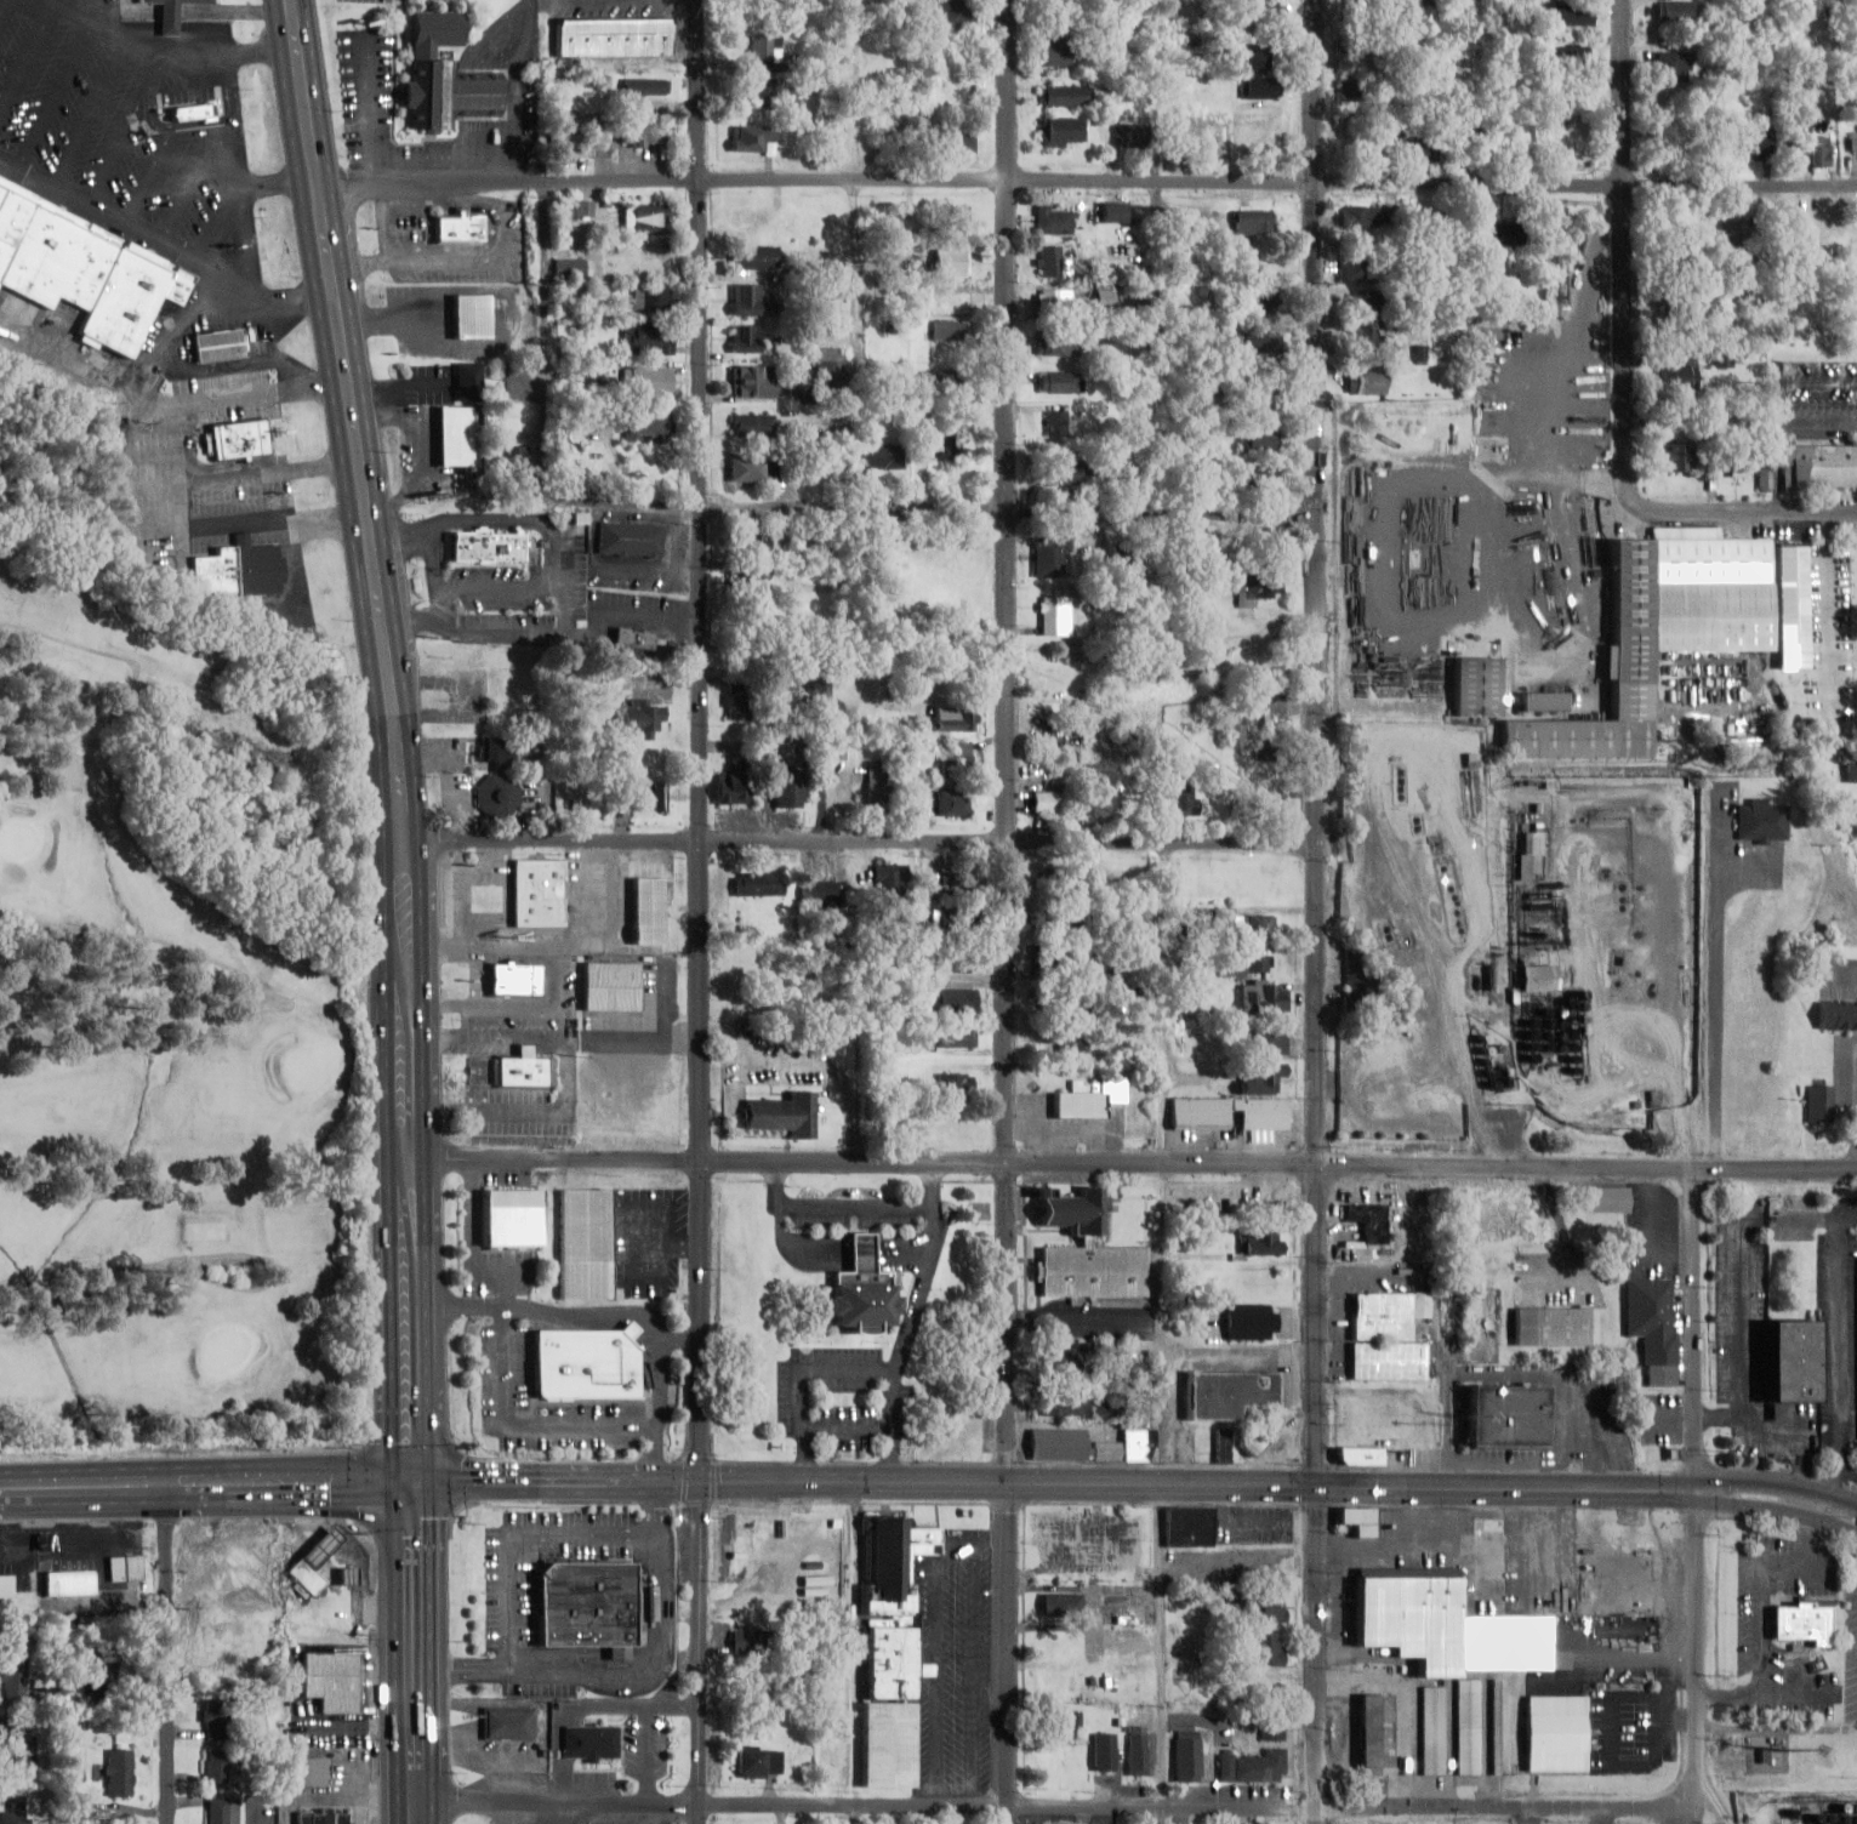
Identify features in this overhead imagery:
road: (6, 0)
building: (1420, 1)
road: (4, 8)
building: (1263, 8)
building: (955, 11)
building: (1677, 11)
building: (1574, 13)
building: (172, 15)
building: (616, 36)
building: (767, 47)
building: (1172, 49)
road: (173, 52)
building: (1060, 53)
building: (1573, 55)
building: (1257, 56)
road: (30, 58)
building: (1671, 65)
building: (448, 73)
building: (1260, 87)
building: (643, 89)
building: (1352, 90)
building: (767, 91)
road: (1466, 91)
road: (304, 93)
building: (1069, 96)
building: (1419, 96)
road: (61, 97)
road: (95, 114)
parking lot: (123, 124)
road: (135, 130)
building: (639, 131)
building: (1063, 131)
building: (1128, 135)
building: (1530, 137)
road: (172, 138)
building: (754, 139)
building: (1853, 139)
building: (958, 142)
building: (1758, 142)
building: (568, 143)
building: (1420, 150)
building: (1798, 154)
building: (1822, 154)
road: (199, 178)
road: (1088, 182)
road: (239, 183)
road: (280, 188)
road: (485, 200)
building: (579, 209)
building: (1115, 212)
building: (1395, 215)
building: (957, 216)
building: (1360, 216)
building: (648, 217)
building: (1055, 220)
road: (125, 221)
road: (388, 221)
building: (1253, 221)
building: (463, 222)
road: (222, 224)
building: (1504, 234)
building: (1800, 236)
building: (1736, 239)
road: (1622, 250)
road: (855, 255)
building: (754, 256)
road: (472, 258)
building: (952, 260)
building: (1052, 261)
building: (84, 264)
road: (363, 266)
building: (1358, 269)
building: (651, 297)
building: (750, 300)
building: (1055, 300)
building: (1106, 300)
building: (1366, 300)
building: (1266, 301)
building: (1687, 306)
building: (479, 313)
road: (262, 324)
building: (951, 330)
building: (1365, 336)
building: (648, 338)
building: (746, 338)
building: (222, 342)
road: (545, 342)
building: (1059, 346)
building: (1266, 346)
building: (1722, 358)
building: (830, 371)
building: (1681, 375)
building: (471, 381)
building: (649, 381)
building: (1060, 381)
building: (751, 382)
building: (941, 382)
building: (1367, 382)
building: (1856, 382)
road: (254, 395)
building: (1260, 395)
building: (1058, 421)
building: (753, 423)
building: (645, 424)
building: (458, 432)
building: (243, 435)
building: (1259, 440)
building: (942, 446)
building: (884, 456)
building: (1676, 456)
building: (1736, 463)
building: (1819, 467)
building: (747, 469)
building: (1064, 474)
building: (1263, 474)
road: (604, 502)
road: (1008, 509)
road: (1742, 515)
building: (633, 535)
building: (750, 541)
building: (490, 542)
building: (1050, 557)
building: (241, 566)
road: (701, 578)
road: (1315, 580)
building: (750, 583)
building: (1257, 586)
building: (1054, 616)
building: (1662, 632)
building: (636, 634)
building: (1479, 688)
building: (820, 695)
building: (739, 701)
building: (1545, 702)
building: (640, 718)
building: (958, 718)
building: (1235, 735)
building: (499, 749)
building: (958, 759)
building: (1850, 766)
building: (878, 786)
building: (734, 791)
building: (500, 792)
building: (790, 792)
building: (643, 794)
building: (1185, 798)
building: (1047, 799)
building: (566, 802)
building: (955, 803)
building: (1762, 821)
road: (404, 828)
road: (860, 839)
building: (890, 877)
building: (1061, 883)
building: (761, 884)
building: (961, 884)
building: (541, 889)
building: (821, 891)
building: (494, 894)
building: (650, 910)
road: (1008, 912)
building: (1059, 919)
building: (953, 922)
building: (1255, 925)
building: (959, 961)
building: (1260, 962)
building: (1067, 963)
building: (1229, 963)
building: (518, 975)
building: (1354, 975)
building: (1539, 977)
building: (611, 985)
park: (163, 994)
building: (1266, 997)
building: (958, 999)
building: (1838, 1015)
building: (957, 1037)
building: (1069, 1039)
building: (1271, 1042)
building: (512, 1070)
building: (1261, 1077)
building: (1497, 1077)
building: (957, 1084)
building: (1084, 1100)
building: (1819, 1102)
building: (1200, 1112)
building: (1261, 1112)
building: (776, 1116)
road: (707, 1158)
road: (1161, 1159)
road: (1587, 1164)
road: (1163, 1165)
building: (1605, 1199)
road: (858, 1205)
building: (515, 1214)
building: (1369, 1220)
road: (1817, 1221)
parking lot: (858, 1222)
building: (588, 1241)
building: (1260, 1242)
road: (816, 1243)
building: (1088, 1253)
building: (1260, 1282)
building: (862, 1288)
road: (1744, 1316)
road: (910, 1317)
building: (1252, 1321)
building: (1551, 1326)
building: (1653, 1327)
building: (1388, 1335)
building: (589, 1360)
building: (1065, 1360)
building: (1793, 1361)
road: (1842, 1361)
building: (1130, 1372)
road: (803, 1380)
building: (1227, 1392)
parking lot: (847, 1401)
building: (1066, 1404)
building: (1105, 1413)
building: (1505, 1415)
road: (849, 1430)
road: (1778, 1433)
building: (1260, 1438)
building: (1090, 1446)
building: (1223, 1446)
building: (1358, 1455)
traffic signals: (414, 1476)
road: (206, 1477)
traffic signals: (702, 1480)
road: (1055, 1481)
traffic signals: (1318, 1487)
road: (1778, 1487)
road: (701, 1490)
traffic signals: (1698, 1492)
road: (1318, 1493)
road: (1698, 1494)
road: (1777, 1511)
building: (1360, 1520)
building: (1190, 1526)
road: (1810, 1531)
building: (312, 1563)
building: (126, 1568)
building: (69, 1583)
building: (6, 1586)
building: (586, 1602)
building: (1063, 1604)
building: (1271, 1608)
building: (1409, 1615)
building: (1807, 1620)
road: (1761, 1629)
road: (416, 1636)
building: (747, 1641)
building: (1502, 1642)
building: (892, 1648)
building: (1268, 1648)
road: (166, 1651)
road: (856, 1652)
road: (1160, 1654)
building: (13, 1680)
building: (106, 1680)
building: (332, 1680)
building: (215, 1714)
building: (509, 1723)
building: (1070, 1723)
building: (1469, 1726)
building: (1496, 1726)
building: (1432, 1729)
road: (1776, 1729)
building: (1275, 1731)
building: (1555, 1733)
building: (1375, 1734)
building: (592, 1743)
building: (16, 1748)
building: (1138, 1750)
building: (1106, 1751)
building: (759, 1761)
building: (1247, 1762)
building: (1187, 1763)
building: (220, 1768)
building: (119, 1771)
building: (311, 1771)
road: (1715, 1800)
road: (867, 1801)
road: (1362, 1807)
road: (420, 1809)
road: (1553, 1809)
building: (15, 1811)
building: (222, 1811)
road: (502, 1811)
road: (541, 1811)
road: (587, 1812)
building: (325, 1816)
road: (1532, 1817)
road: (1601, 1817)

